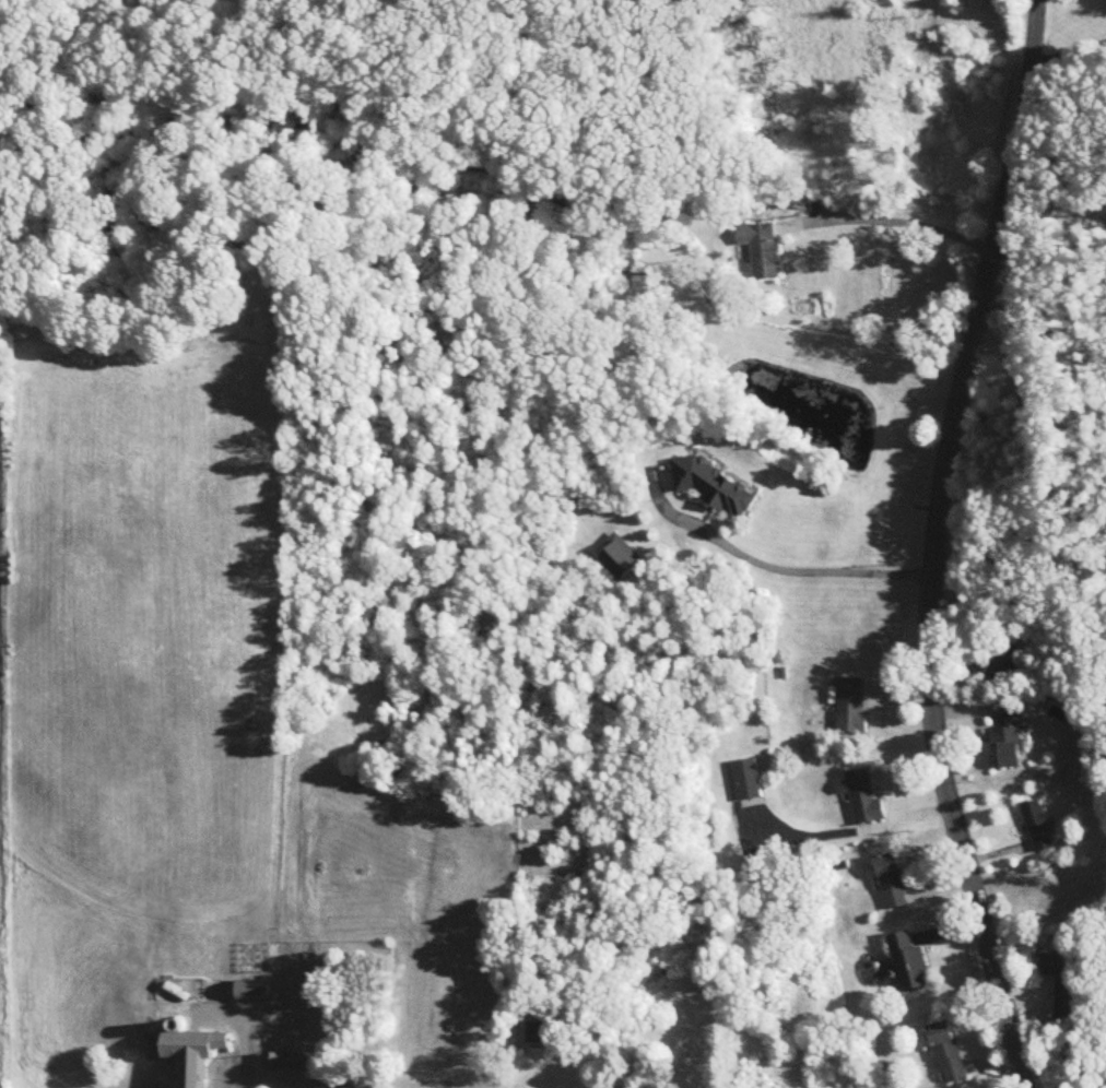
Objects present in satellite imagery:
road: (1068, 54)
road: (899, 222)
building: (764, 250)
building: (717, 488)
road: (937, 545)
building: (619, 557)
road: (810, 569)
building: (995, 659)
building: (851, 707)
building: (1009, 749)
building: (750, 784)
building: (866, 800)
building: (1037, 827)
building: (893, 882)
building: (910, 963)
building: (1066, 982)
building: (254, 992)
building: (539, 1034)
road: (243, 1040)
building: (189, 1053)
building: (949, 1053)
building: (286, 1063)
road: (295, 1079)

